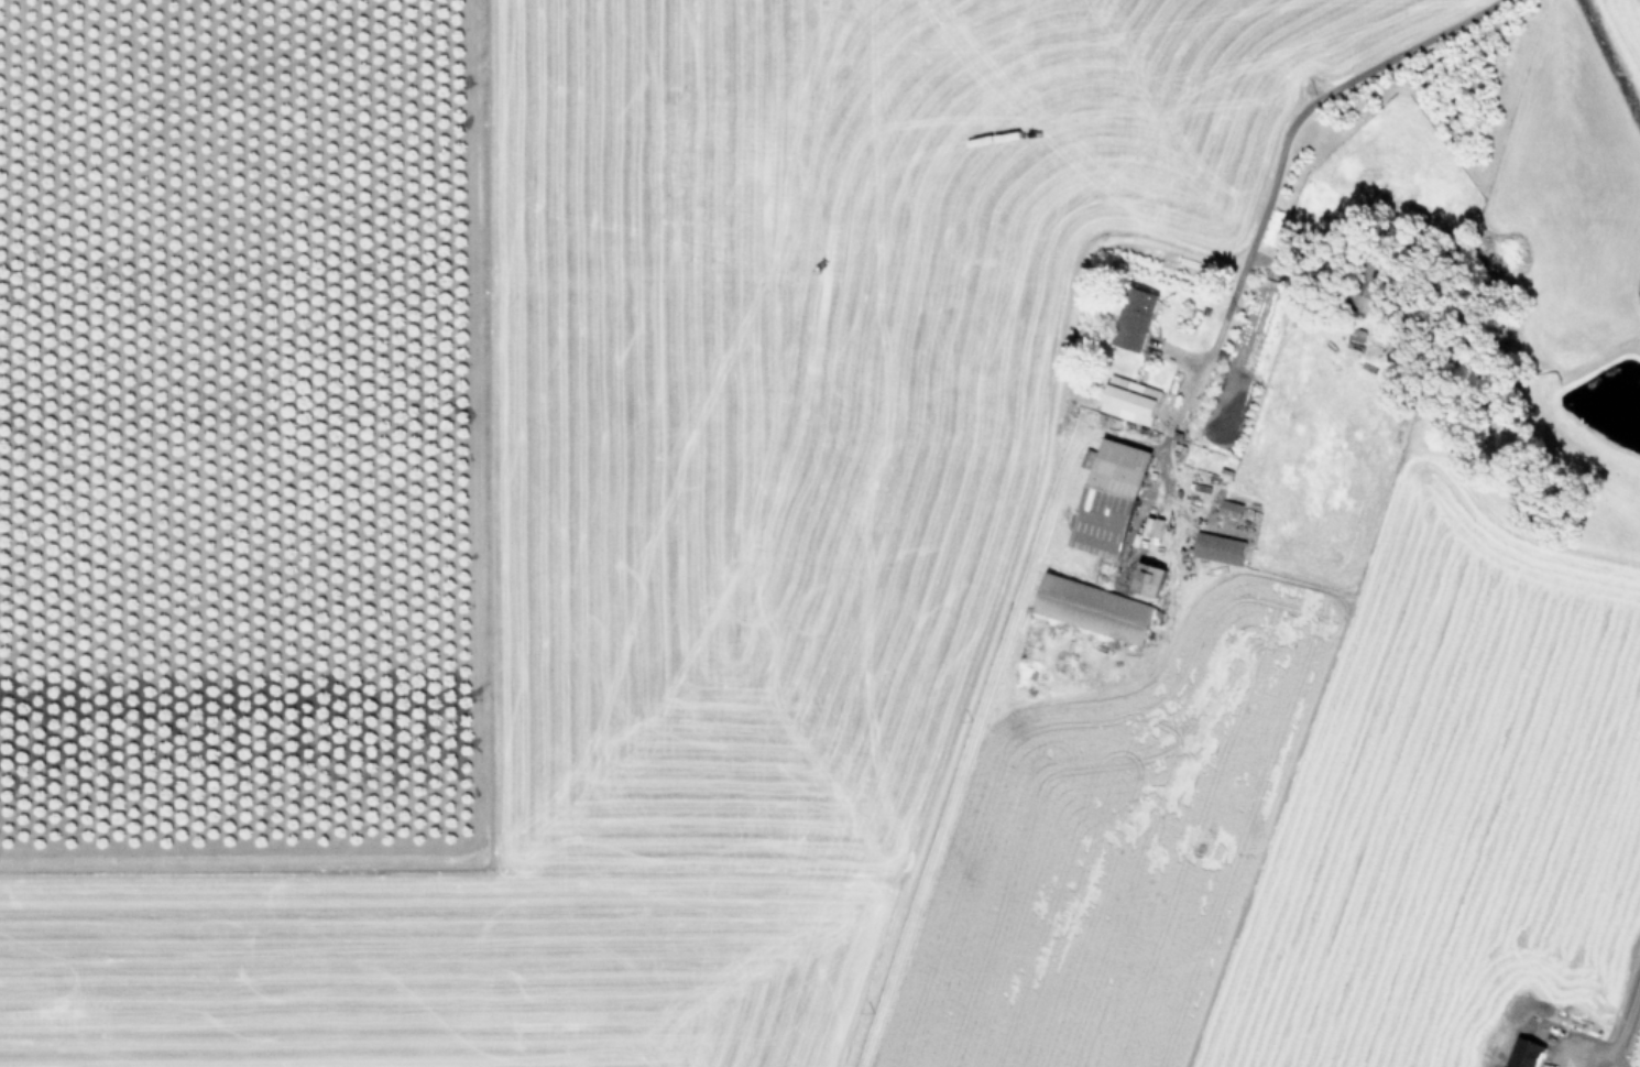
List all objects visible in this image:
road: (1325, 91)
building: (1139, 317)
building: (1133, 403)
building: (1116, 490)
building: (1154, 525)
crop: (820, 533)
building: (1221, 547)
building: (1152, 577)
building: (1095, 607)
road: (1621, 1034)

